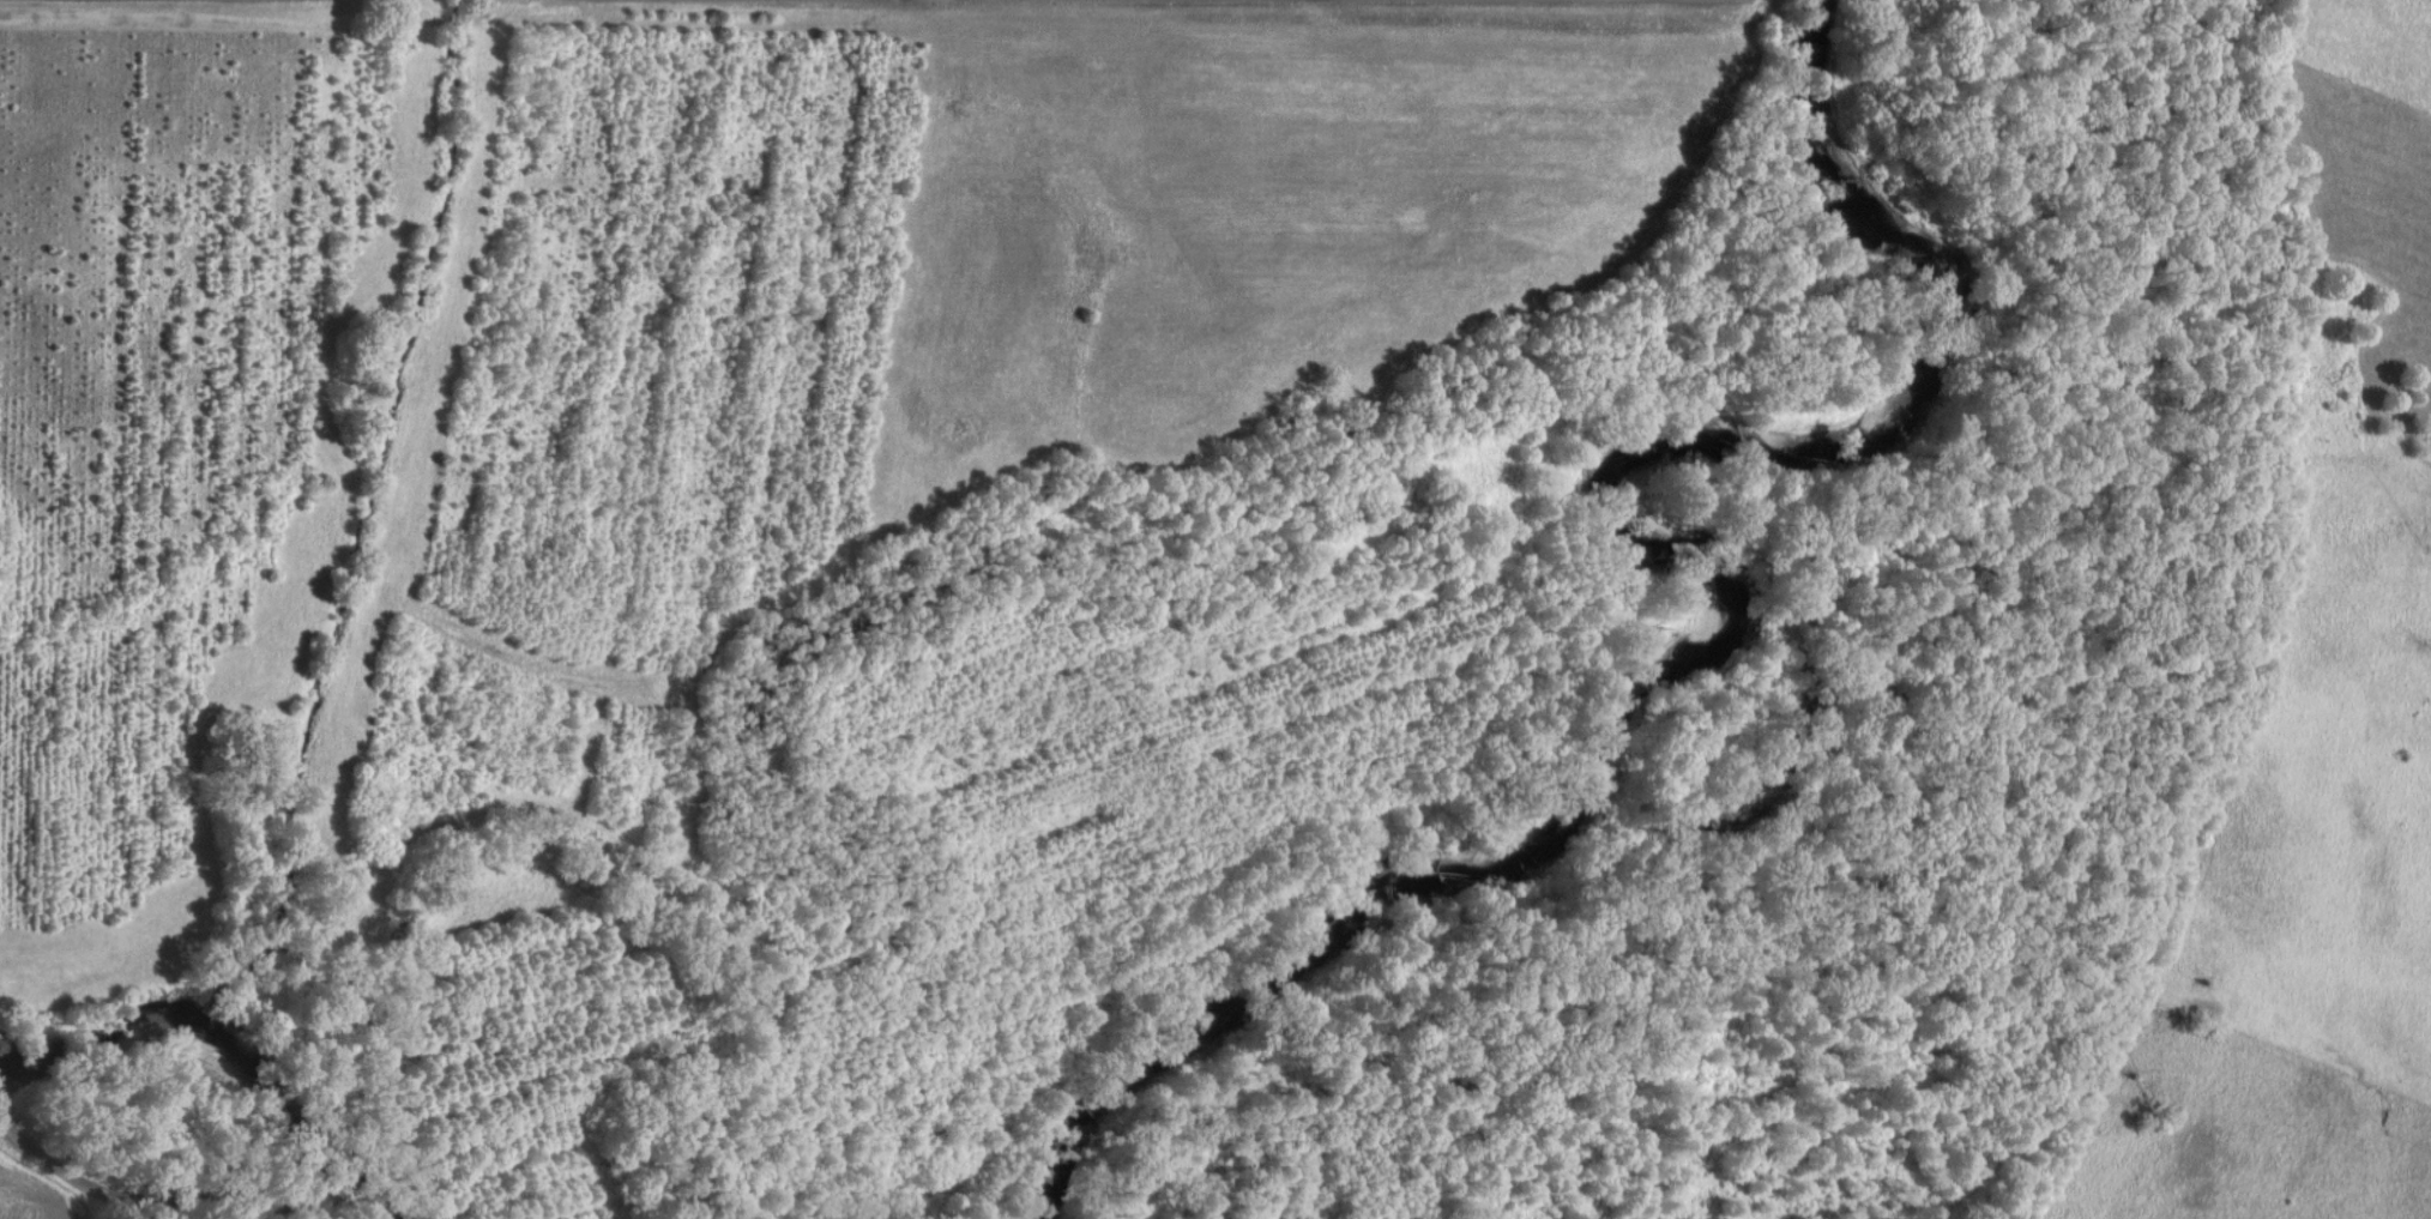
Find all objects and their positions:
river: (1669, 629)
river: (231, 1040)
road: (7, 1097)
road: (153, 1194)

